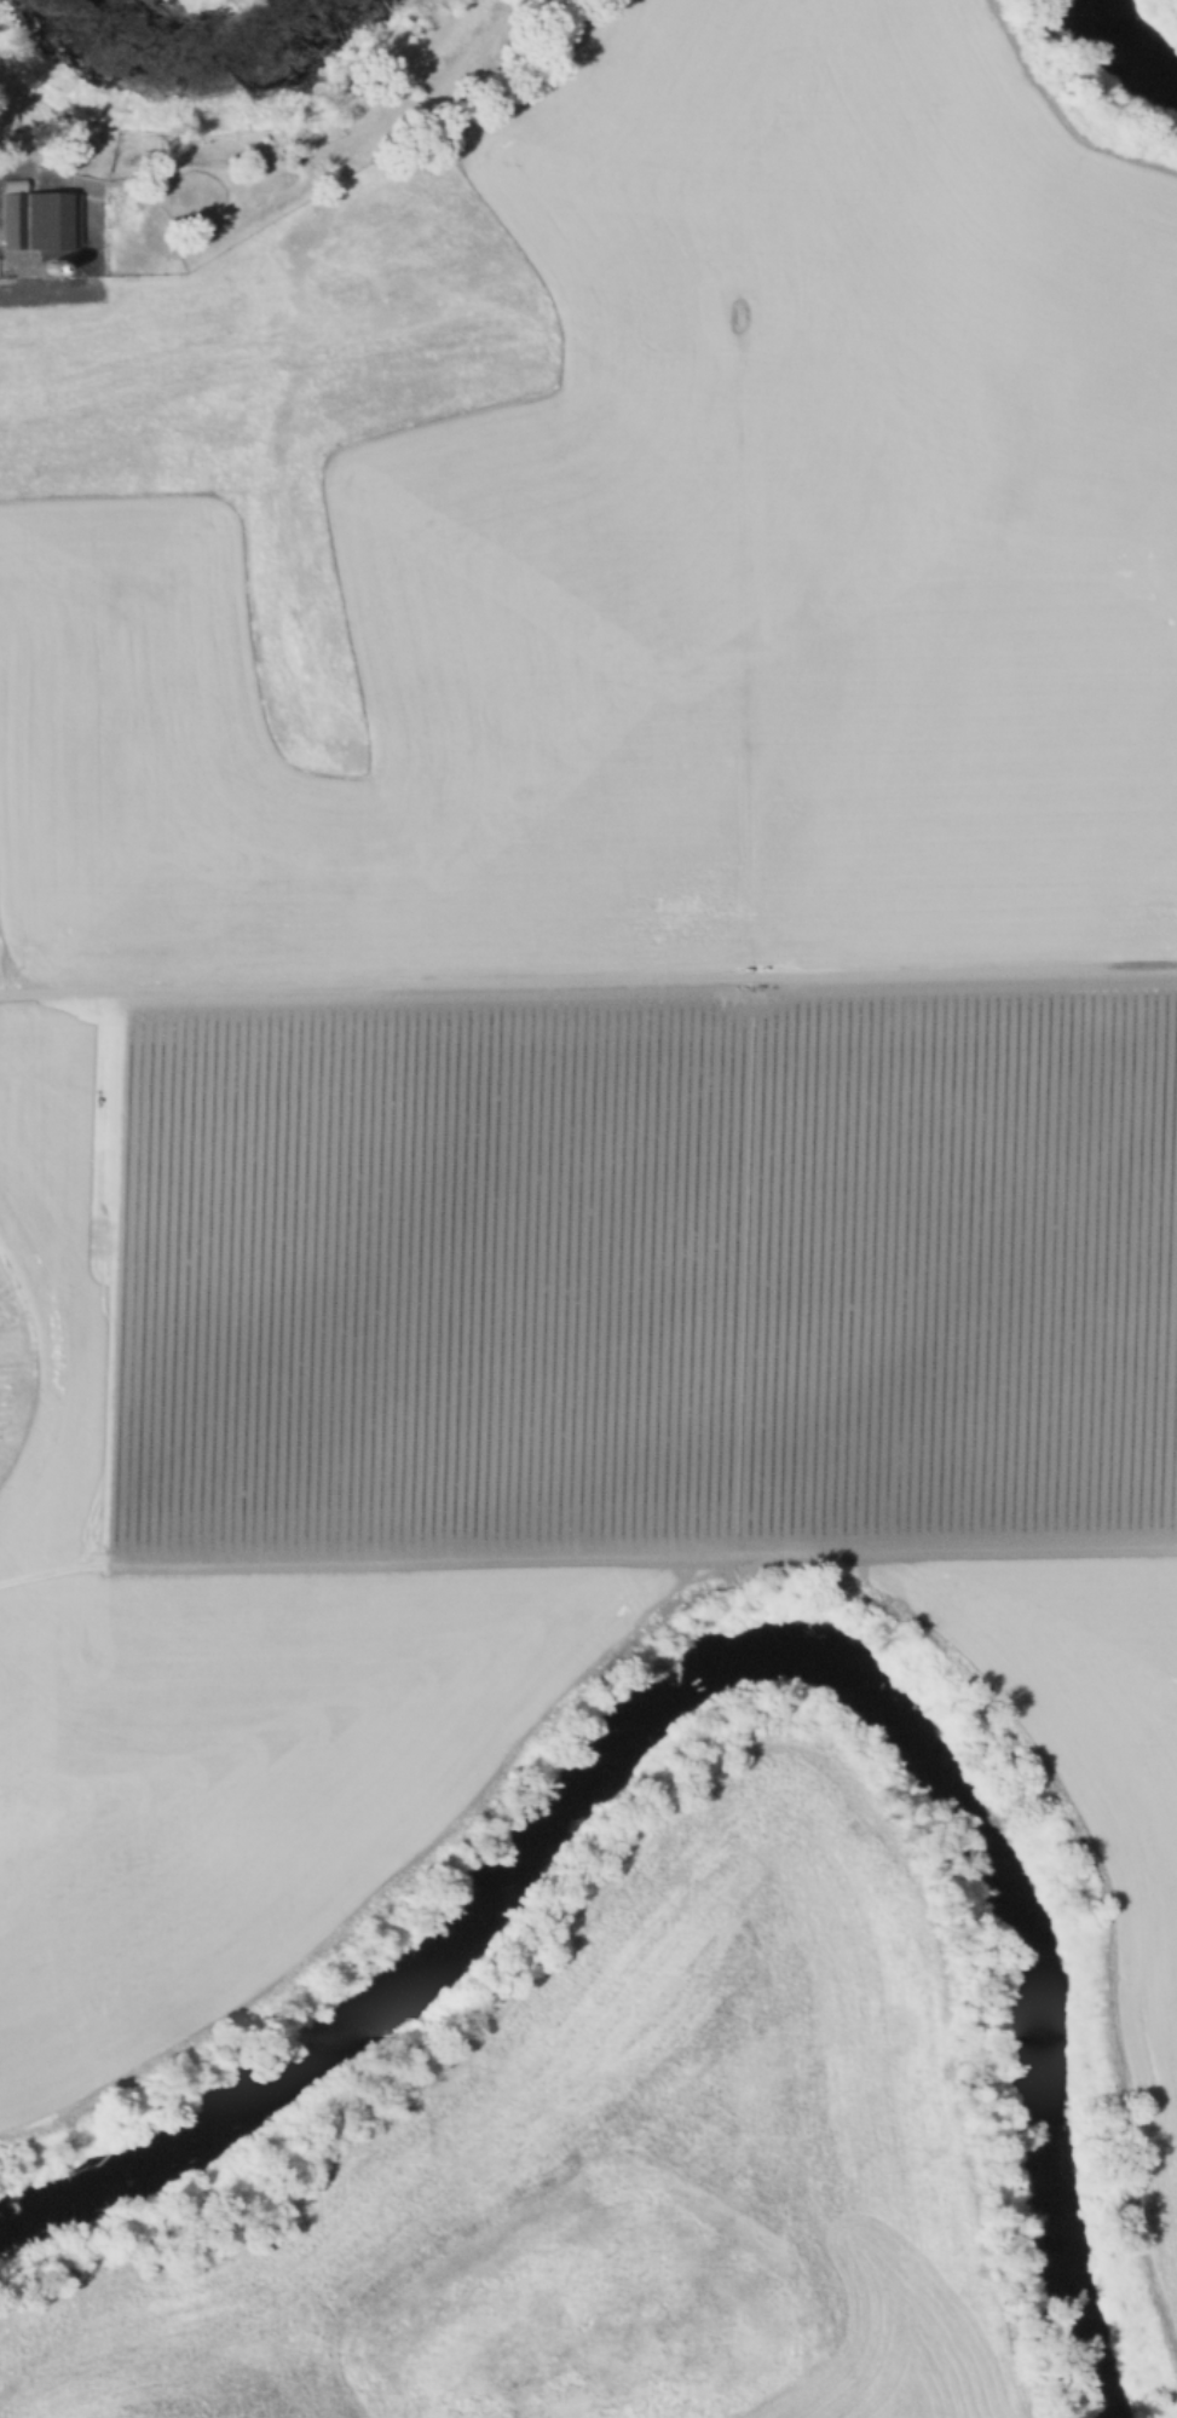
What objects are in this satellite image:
river: (1156, 17)
park: (220, 77)
building: (39, 224)
building: (51, 273)
silo: (51, 273)
crop: (579, 960)
road: (588, 980)
river: (748, 1645)
crop: (631, 2159)
crop: (999, 2414)

